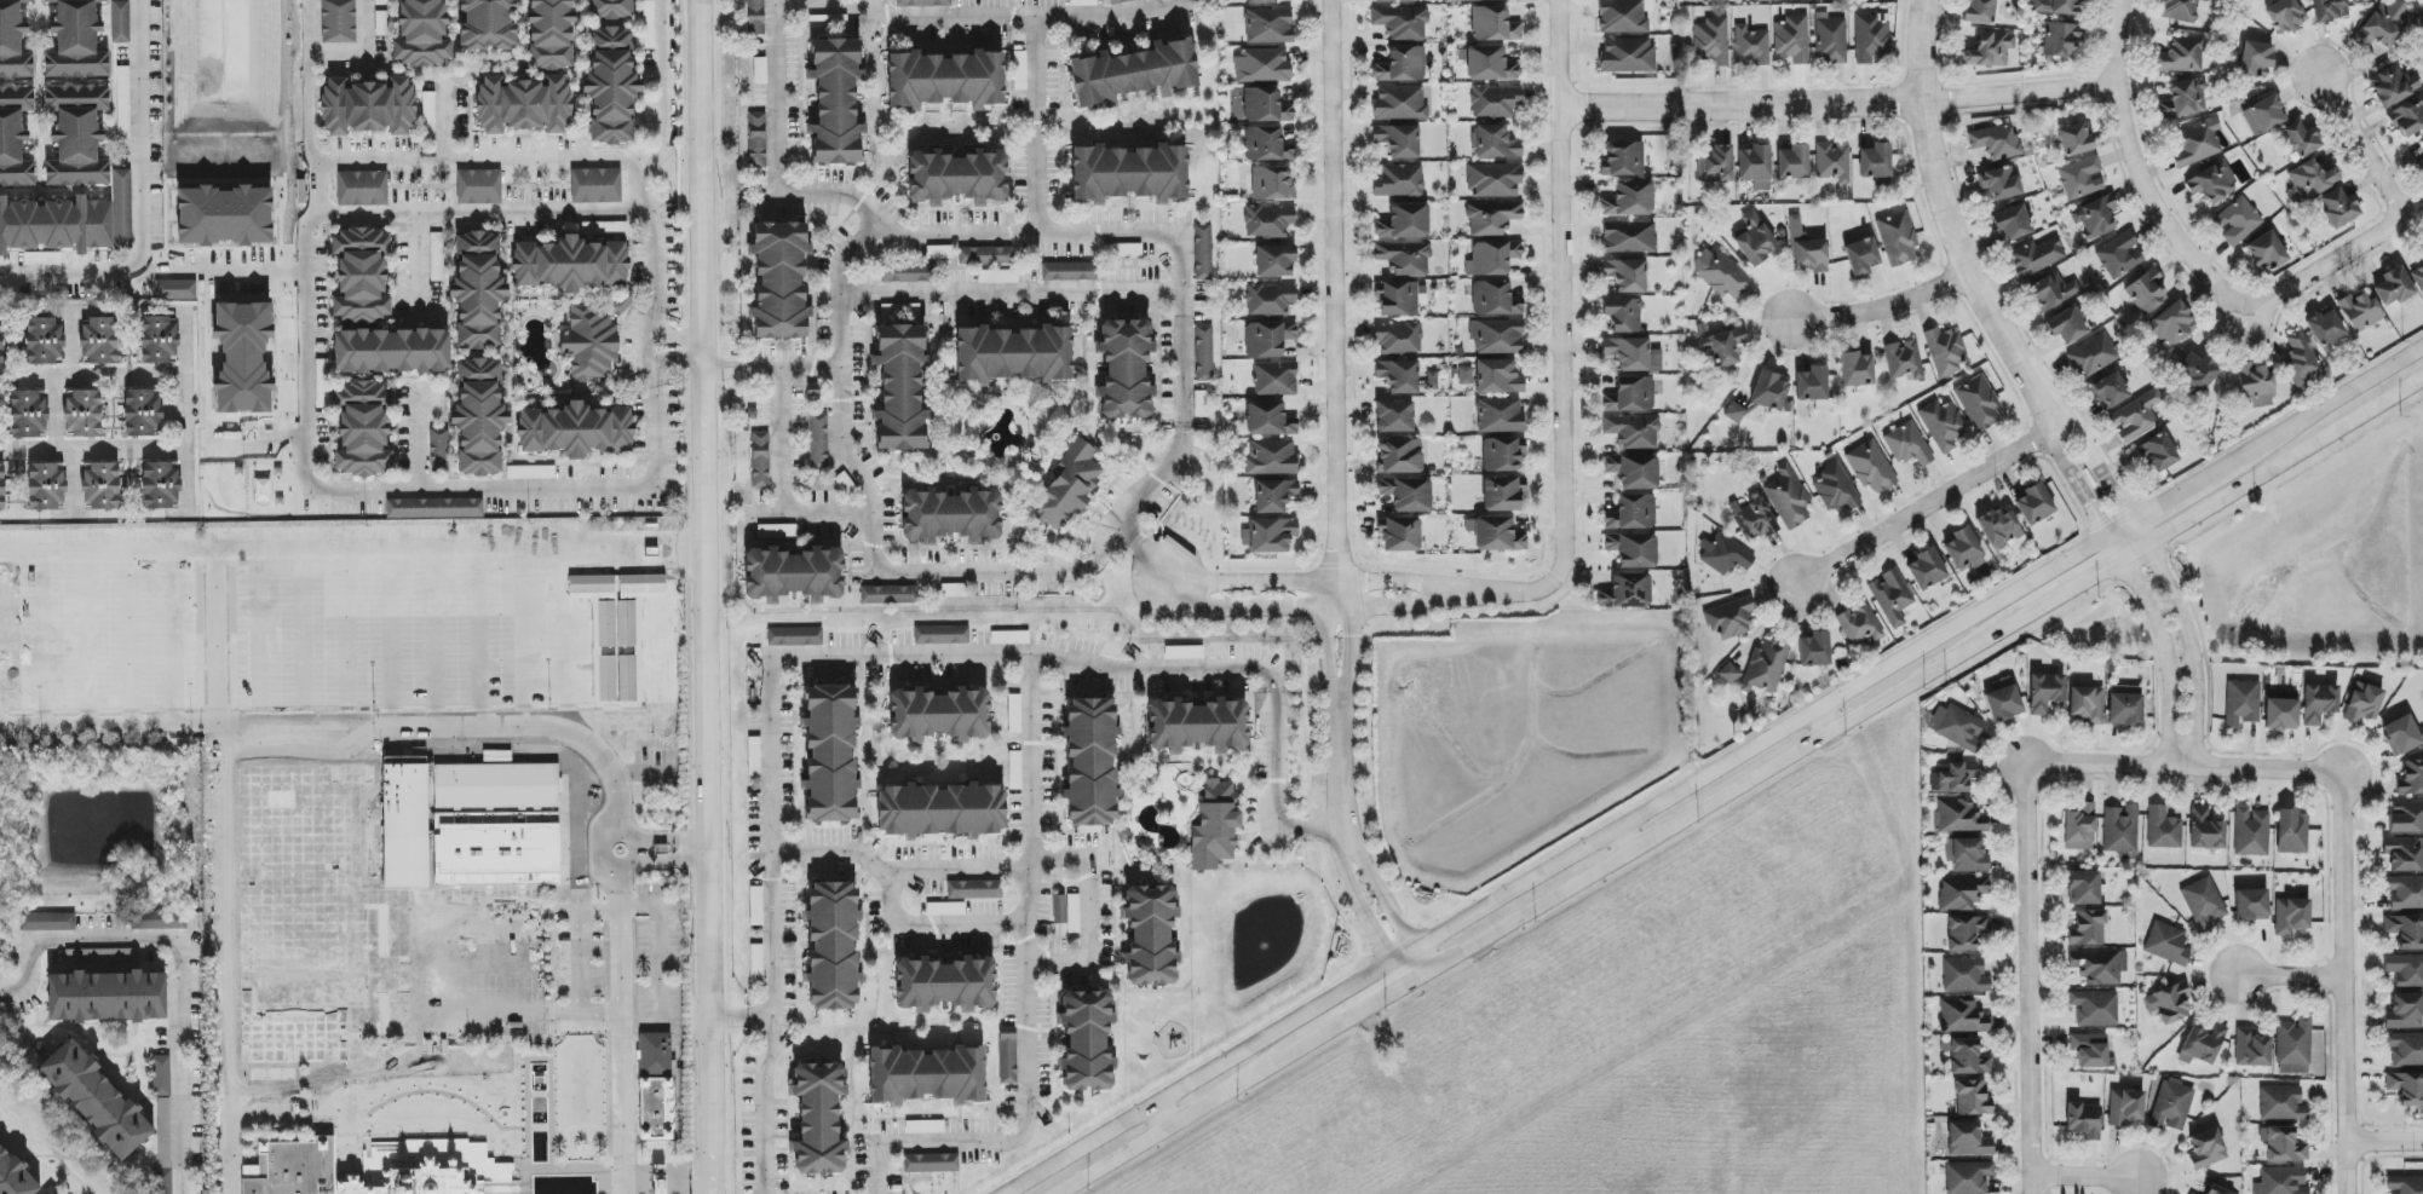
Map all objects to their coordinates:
building: (1392, 0)
building: (1475, 0)
building: (1124, 1)
building: (1261, 1)
building: (1083, 2)
building: (923, 4)
building: (2056, 6)
building: (610, 8)
building: (2183, 10)
building: (2330, 10)
building: (1979, 11)
building: (2285, 16)
building: (755, 17)
building: (1622, 17)
road: (1014, 19)
building: (120, 22)
building: (339, 22)
building: (827, 22)
building: (1402, 22)
building: (381, 23)
building: (1270, 23)
building: (487, 24)
building: (649, 24)
building: (1493, 24)
building: (2383, 25)
building: (421, 34)
building: (549, 34)
building: (1871, 36)
building: (1791, 40)
building: (1830, 40)
building: (2061, 40)
building: (13, 41)
building: (76, 41)
building: (1713, 41)
building: (1751, 47)
building: (1990, 50)
road: (362, 52)
building: (2181, 56)
building: (1627, 57)
building: (2255, 59)
building: (1264, 64)
building: (1489, 64)
building: (1402, 65)
building: (1135, 68)
building: (945, 80)
building: (2392, 86)
building: (611, 87)
building: (2183, 99)
building: (835, 102)
building: (1495, 102)
building: (123, 103)
building: (1265, 103)
building: (1399, 104)
road: (1838, 104)
building: (524, 105)
building: (368, 108)
building: (430, 115)
building: (2263, 115)
building: (2407, 116)
road: (445, 126)
road: (1037, 128)
building: (77, 135)
building: (15, 137)
road: (140, 137)
building: (2074, 139)
building: (2301, 139)
road: (2361, 139)
building: (756, 140)
building: (1398, 140)
building: (1265, 142)
building: (1996, 142)
building: (2422, 142)
building: (1495, 143)
building: (2197, 143)
road: (657, 155)
building: (1623, 160)
road: (2135, 160)
building: (1792, 162)
building: (1832, 163)
building: (1876, 163)
road: (401, 165)
building: (1715, 165)
building: (2419, 166)
building: (1756, 167)
building: (1129, 168)
building: (956, 178)
building: (2080, 178)
building: (2313, 179)
building: (1493, 180)
building: (1399, 181)
building: (1999, 183)
building: (2211, 183)
building: (1272, 184)
building: (362, 186)
building: (597, 186)
building: (479, 188)
road: (313, 191)
building: (1629, 200)
building: (122, 208)
building: (2338, 208)
building: (2095, 217)
building: (1492, 218)
building: (1268, 221)
building: (2237, 221)
building: (1405, 223)
building: (2012, 223)
building: (56, 225)
building: (615, 229)
road: (1156, 237)
building: (1629, 237)
building: (1898, 238)
building: (1754, 240)
road: (1951, 240)
building: (1807, 250)
building: (939, 253)
building: (1203, 253)
building: (2266, 253)
building: (2119, 255)
building: (437, 256)
building: (986, 256)
building: (1404, 258)
building: (1492, 258)
building: (1861, 258)
building: (2036, 258)
building: (42, 259)
building: (1274, 261)
building: (570, 264)
road: (420, 267)
building: (361, 272)
building: (1069, 272)
road: (151, 273)
building: (908, 273)
building: (1721, 273)
road: (2319, 273)
building: (2418, 273)
building: (1625, 276)
building: (997, 277)
building: (779, 282)
building: (2393, 287)
building: (478, 290)
road: (1561, 292)
building: (2053, 292)
building: (2146, 292)
road: (1013, 295)
building: (1397, 299)
building: (1495, 299)
building: (1270, 300)
road: (1881, 307)
building: (899, 311)
building: (2360, 311)
building: (1623, 315)
building: (2066, 325)
building: (2171, 325)
building: (2324, 328)
road: (677, 335)
building: (157, 336)
building: (1496, 336)
building: (1267, 339)
building: (1398, 339)
building: (45, 341)
building: (99, 341)
building: (1, 344)
building: (589, 344)
road: (650, 345)
building: (1727, 346)
building: (392, 347)
building: (1946, 351)
building: (1013, 354)
building: (1204, 354)
building: (1631, 354)
building: (2093, 356)
building: (2301, 359)
road: (677, 360)
building: (1904, 360)
building: (1124, 369)
building: (1857, 369)
road: (771, 371)
building: (2197, 371)
road: (92, 375)
building: (1399, 376)
building: (1492, 377)
building: (1276, 379)
building: (322, 383)
building: (1812, 385)
building: (2255, 385)
building: (900, 388)
road: (840, 391)
building: (1771, 391)
building: (2110, 391)
building: (1633, 396)
building: (1978, 403)
building: (1201, 404)
road: (185, 410)
road: (303, 410)
road: (2318, 411)
building: (143, 413)
building: (1736, 413)
building: (82, 414)
building: (29, 415)
road: (1335, 415)
building: (1500, 416)
building: (479, 417)
building: (1394, 417)
building: (2136, 417)
building: (1270, 420)
building: (1943, 425)
building: (363, 429)
building: (575, 431)
building: (1634, 432)
road: (421, 439)
building: (818, 442)
building: (1907, 445)
road: (93, 449)
building: (439, 451)
building: (2158, 454)
building: (1502, 455)
building: (1399, 456)
building: (1271, 457)
building: (760, 460)
road: (2284, 461)
building: (1871, 467)
building: (1634, 471)
building: (531, 473)
road: (781, 481)
building: (1070, 485)
building: (2, 486)
building: (46, 486)
building: (102, 486)
building: (161, 486)
building: (1836, 490)
road: (2113, 491)
building: (1406, 494)
building: (1502, 494)
building: (1274, 496)
building: (1789, 498)
road: (2159, 503)
building: (2034, 504)
road: (2091, 506)
building: (434, 508)
road: (1920, 512)
building: (1631, 514)
building: (951, 517)
building: (1755, 521)
building: (1999, 527)
building: (777, 531)
building: (1268, 535)
building: (1399, 535)
building: (1496, 535)
building: (1963, 549)
road: (1147, 550)
building: (1633, 550)
road: (2133, 552)
building: (1725, 555)
building: (1926, 569)
building: (793, 575)
building: (591, 584)
building: (641, 584)
building: (1627, 593)
road: (2065, 593)
building: (888, 595)
road: (704, 596)
road: (1360, 596)
building: (1890, 596)
building: (1730, 618)
building: (1859, 623)
building: (606, 624)
building: (627, 624)
building: (942, 635)
building: (795, 636)
building: (1009, 638)
building: (1814, 650)
road: (2189, 651)
road: (404, 653)
building: (1184, 653)
road: (2165, 659)
road: (1122, 668)
building: (1757, 669)
building: (627, 679)
building: (606, 680)
building: (2124, 690)
building: (2045, 692)
building: (2003, 703)
building: (2241, 703)
building: (2319, 703)
building: (2362, 703)
building: (2087, 705)
building: (2124, 709)
building: (2281, 711)
building: (938, 715)
building: (1014, 715)
road: (1828, 719)
building: (1197, 726)
building: (1959, 728)
building: (2400, 736)
road: (359, 742)
building: (830, 754)
building: (754, 757)
building: (1090, 763)
road: (2183, 769)
building: (1956, 777)
building: (2411, 779)
building: (496, 786)
road: (1711, 803)
building: (940, 811)
building: (1958, 817)
building: (2405, 818)
building: (405, 820)
building: (1215, 826)
building: (2163, 829)
building: (2205, 830)
building: (2120, 831)
building: (2079, 832)
building: (2251, 832)
building: (2291, 832)
road: (662, 838)
road: (1623, 841)
building: (496, 849)
building: (2404, 854)
building: (1967, 855)
road: (662, 861)
road: (1555, 866)
road: (899, 871)
building: (2083, 888)
building: (974, 890)
road: (1379, 892)
building: (1962, 893)
building: (2405, 893)
road: (1357, 901)
building: (2203, 904)
building: (2251, 904)
road: (1088, 909)
building: (945, 910)
building: (1066, 912)
road: (393, 916)
building: (2291, 916)
building: (159, 921)
building: (47, 922)
road: (772, 928)
road: (934, 928)
building: (2088, 928)
building: (2405, 931)
building: (1966, 933)
building: (1150, 936)
road: (660, 942)
road: (75, 944)
building: (2168, 944)
building: (833, 946)
building: (99, 956)
building: (2099, 967)
road: (1406, 970)
building: (2405, 970)
building: (1964, 975)
road: (2280, 975)
road: (2031, 979)
building: (944, 984)
road: (2344, 986)
road: (1031, 991)
building: (108, 997)
building: (2168, 1004)
building: (2095, 1009)
building: (6, 1010)
building: (2405, 1013)
road: (425, 1014)
road: (741, 1016)
road: (1354, 1016)
building: (1962, 1016)
building: (1086, 1040)
building: (2202, 1044)
building: (2293, 1046)
building: (2251, 1049)
building: (2089, 1050)
building: (2405, 1050)
building: (655, 1054)
building: (1967, 1057)
building: (1008, 1059)
road: (179, 1069)
building: (162, 1075)
building: (927, 1075)
building: (2406, 1088)
building: (1973, 1098)
building: (96, 1100)
building: (2281, 1104)
building: (2125, 1107)
building: (2171, 1107)
building: (656, 1109)
road: (1163, 1115)
building: (818, 1119)
building: (2084, 1120)
road: (1178, 1121)
building: (925, 1127)
building: (1968, 1141)
road: (2385, 1143)
building: (2283, 1144)
building: (163, 1146)
building: (2206, 1149)
building: (932, 1164)
building: (379, 1169)
building: (15, 1177)
building: (1967, 1177)
road: (2085, 1181)
building: (2281, 1181)
building: (2405, 1184)
building: (2216, 1190)
building: (61, 1193)
building: (2189, 1193)

